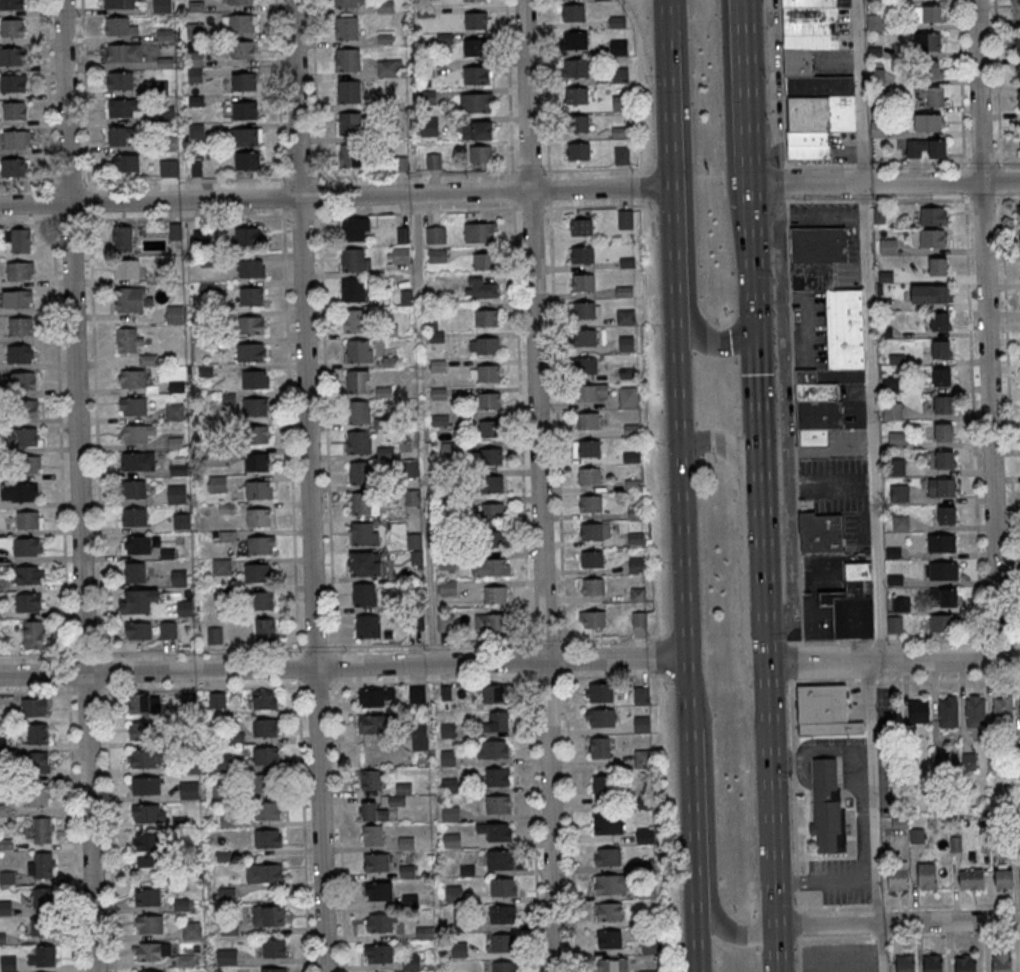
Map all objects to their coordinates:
building: (240, 1)
building: (345, 3)
road: (664, 3)
road: (664, 3)
building: (12, 4)
building: (119, 4)
building: (161, 5)
building: (573, 12)
building: (1018, 12)
building: (927, 13)
building: (477, 20)
building: (241, 22)
road: (741, 22)
road: (748, 22)
building: (809, 24)
parking lot: (843, 24)
building: (117, 26)
building: (11, 27)
building: (346, 27)
building: (195, 29)
building: (573, 39)
building: (927, 40)
building: (1017, 45)
building: (477, 46)
building: (618, 47)
building: (243, 49)
building: (122, 52)
building: (11, 56)
building: (347, 59)
parking lot: (831, 62)
building: (194, 66)
building: (575, 67)
building: (389, 68)
building: (932, 69)
parking lot: (773, 71)
building: (1017, 72)
building: (476, 75)
building: (121, 80)
road: (960, 81)
road: (997, 81)
building: (13, 82)
building: (244, 82)
road: (772, 83)
road: (782, 83)
building: (348, 92)
building: (576, 95)
building: (933, 95)
building: (427, 96)
building: (1018, 99)
road: (67, 101)
building: (475, 102)
building: (813, 105)
building: (125, 108)
building: (245, 109)
building: (14, 110)
building: (165, 114)
road: (751, 114)
building: (928, 122)
building: (349, 123)
building: (578, 123)
building: (1019, 125)
building: (434, 126)
building: (477, 130)
building: (196, 131)
building: (247, 135)
building: (120, 136)
building: (16, 139)
building: (1019, 146)
building: (925, 148)
building: (578, 151)
road: (670, 151)
building: (480, 154)
building: (350, 155)
building: (621, 155)
building: (248, 160)
building: (433, 160)
road: (1007, 162)
building: (126, 163)
road: (820, 163)
road: (862, 163)
road: (917, 163)
road: (966, 163)
road: (981, 163)
building: (12, 167)
road: (1000, 180)
road: (964, 181)
road: (785, 182)
road: (886, 184)
road: (26, 185)
road: (335, 196)
road: (1010, 198)
road: (999, 199)
road: (822, 200)
road: (918, 200)
road: (981, 200)
road: (864, 201)
road: (688, 203)
building: (1019, 213)
building: (933, 215)
building: (625, 219)
road: (44, 221)
building: (582, 226)
building: (355, 229)
building: (480, 232)
building: (435, 234)
building: (247, 235)
building: (122, 237)
building: (933, 237)
building: (18, 239)
building: (888, 245)
building: (400, 254)
building: (437, 255)
building: (582, 255)
building: (354, 259)
building: (485, 261)
building: (937, 266)
building: (126, 268)
building: (250, 268)
building: (19, 270)
building: (584, 282)
building: (484, 289)
building: (352, 290)
building: (624, 291)
building: (930, 293)
building: (251, 295)
building: (16, 298)
building: (129, 299)
building: (584, 310)
building: (174, 314)
building: (625, 316)
building: (487, 318)
traffic signals: (758, 319)
building: (354, 320)
building: (939, 321)
building: (251, 324)
building: (21, 326)
road: (985, 330)
building: (826, 332)
building: (585, 338)
building: (129, 340)
building: (626, 343)
building: (488, 345)
road: (57, 346)
building: (940, 349)
building: (358, 350)
building: (251, 352)
building: (19, 354)
building: (586, 365)
building: (488, 373)
building: (941, 376)
building: (133, 378)
building: (254, 379)
building: (23, 380)
building: (357, 381)
building: (587, 392)
building: (628, 397)
building: (490, 400)
building: (942, 404)
building: (135, 406)
building: (255, 407)
building: (24, 408)
building: (891, 410)
building: (174, 411)
building: (357, 412)
building: (588, 420)
road: (794, 420)
building: (490, 428)
road: (1009, 429)
road: (973, 430)
building: (943, 432)
building: (137, 433)
building: (256, 434)
building: (20, 436)
road: (97, 437)
building: (897, 438)
building: (358, 442)
building: (589, 448)
building: (215, 457)
building: (492, 457)
building: (944, 459)
building: (138, 461)
building: (257, 462)
building: (26, 464)
building: (178, 465)
building: (359, 473)
building: (590, 475)
building: (217, 483)
building: (492, 483)
road: (292, 485)
road: (311, 485)
road: (522, 485)
road: (541, 485)
road: (328, 486)
road: (559, 486)
road: (875, 487)
building: (941, 487)
building: (134, 489)
building: (258, 489)
building: (18, 492)
building: (176, 494)
building: (411, 497)
building: (363, 504)
building: (591, 504)
building: (493, 511)
building: (946, 515)
building: (135, 516)
building: (259, 517)
building: (28, 519)
building: (182, 521)
road: (745, 524)
building: (591, 532)
building: (362, 533)
building: (820, 533)
building: (494, 538)
building: (941, 543)
building: (139, 544)
building: (260, 544)
building: (25, 546)
building: (592, 560)
building: (363, 565)
building: (636, 565)
building: (221, 566)
building: (493, 567)
road: (429, 569)
building: (942, 570)
building: (257, 571)
building: (134, 572)
building: (27, 574)
building: (179, 577)
road: (765, 578)
building: (593, 586)
road: (83, 587)
building: (364, 594)
building: (496, 595)
building: (944, 597)
building: (261, 599)
building: (138, 600)
building: (27, 601)
building: (852, 603)
building: (900, 603)
building: (185, 608)
building: (595, 619)
building: (639, 619)
building: (445, 622)
building: (491, 622)
building: (940, 623)
building: (894, 624)
building: (368, 625)
building: (167, 629)
building: (140, 630)
building: (265, 630)
building: (32, 634)
road: (686, 634)
building: (214, 635)
road: (953, 640)
road: (879, 641)
road: (831, 642)
road: (316, 648)
road: (52, 654)
road: (893, 661)
road: (791, 662)
road: (343, 665)
road: (826, 681)
road: (948, 681)
road: (868, 682)
building: (599, 692)
building: (417, 693)
building: (493, 693)
building: (641, 694)
building: (376, 697)
building: (216, 699)
building: (264, 699)
building: (144, 703)
building: (34, 706)
building: (918, 710)
building: (1002, 710)
building: (825, 712)
building: (947, 712)
building: (974, 712)
building: (600, 717)
building: (498, 721)
building: (642, 723)
building: (375, 724)
building: (265, 726)
building: (1019, 727)
building: (141, 730)
building: (448, 730)
building: (37, 733)
building: (419, 735)
building: (600, 747)
building: (494, 749)
building: (266, 755)
building: (448, 757)
building: (642, 758)
building: (141, 759)
building: (34, 762)
building: (497, 776)
building: (371, 779)
building: (266, 782)
building: (449, 785)
building: (602, 785)
building: (145, 786)
building: (189, 790)
building: (36, 795)
building: (645, 803)
building: (499, 804)
building: (0, 807)
building: (827, 807)
road: (794, 809)
building: (266, 810)
building: (373, 811)
building: (149, 813)
building: (451, 813)
road: (710, 822)
building: (607, 823)
building: (38, 831)
building: (499, 831)
road: (74, 832)
building: (372, 834)
building: (267, 838)
building: (453, 840)
building: (406, 842)
building: (5, 844)
building: (150, 849)
building: (607, 856)
building: (499, 859)
building: (377, 861)
building: (40, 865)
building: (468, 870)
building: (407, 871)
building: (271, 872)
building: (926, 875)
building: (897, 877)
building: (6, 878)
building: (1003, 878)
building: (971, 879)
building: (609, 884)
building: (502, 886)
building: (381, 890)
building: (454, 893)
building: (147, 896)
building: (43, 897)
building: (410, 900)
road: (951, 904)
road: (875, 906)
building: (6, 907)
road: (833, 907)
building: (609, 912)
building: (502, 913)
building: (273, 914)
building: (381, 922)
road: (898, 922)
building: (462, 923)
building: (149, 924)
building: (43, 927)
building: (191, 929)
road: (908, 935)
building: (1, 938)
building: (609, 939)
building: (502, 943)
building: (275, 948)
building: (460, 950)
building: (153, 951)
building: (380, 953)
road: (798, 955)
building: (43, 956)
building: (227, 956)
building: (186, 960)
building: (411, 961)
building: (7, 963)
building: (905, 963)
building: (933, 963)
building: (1002, 963)
building: (966, 964)
building: (613, 965)
building: (504, 966)
building: (273, 969)
building: (152, 971)
building: (647, 971)

